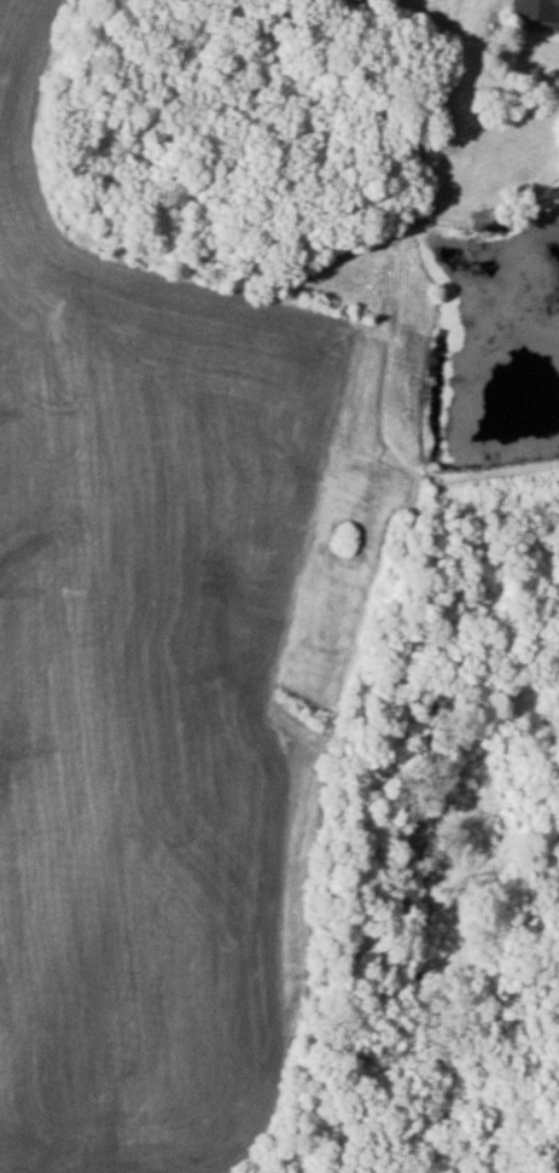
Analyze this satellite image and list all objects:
building: (536, 12)

